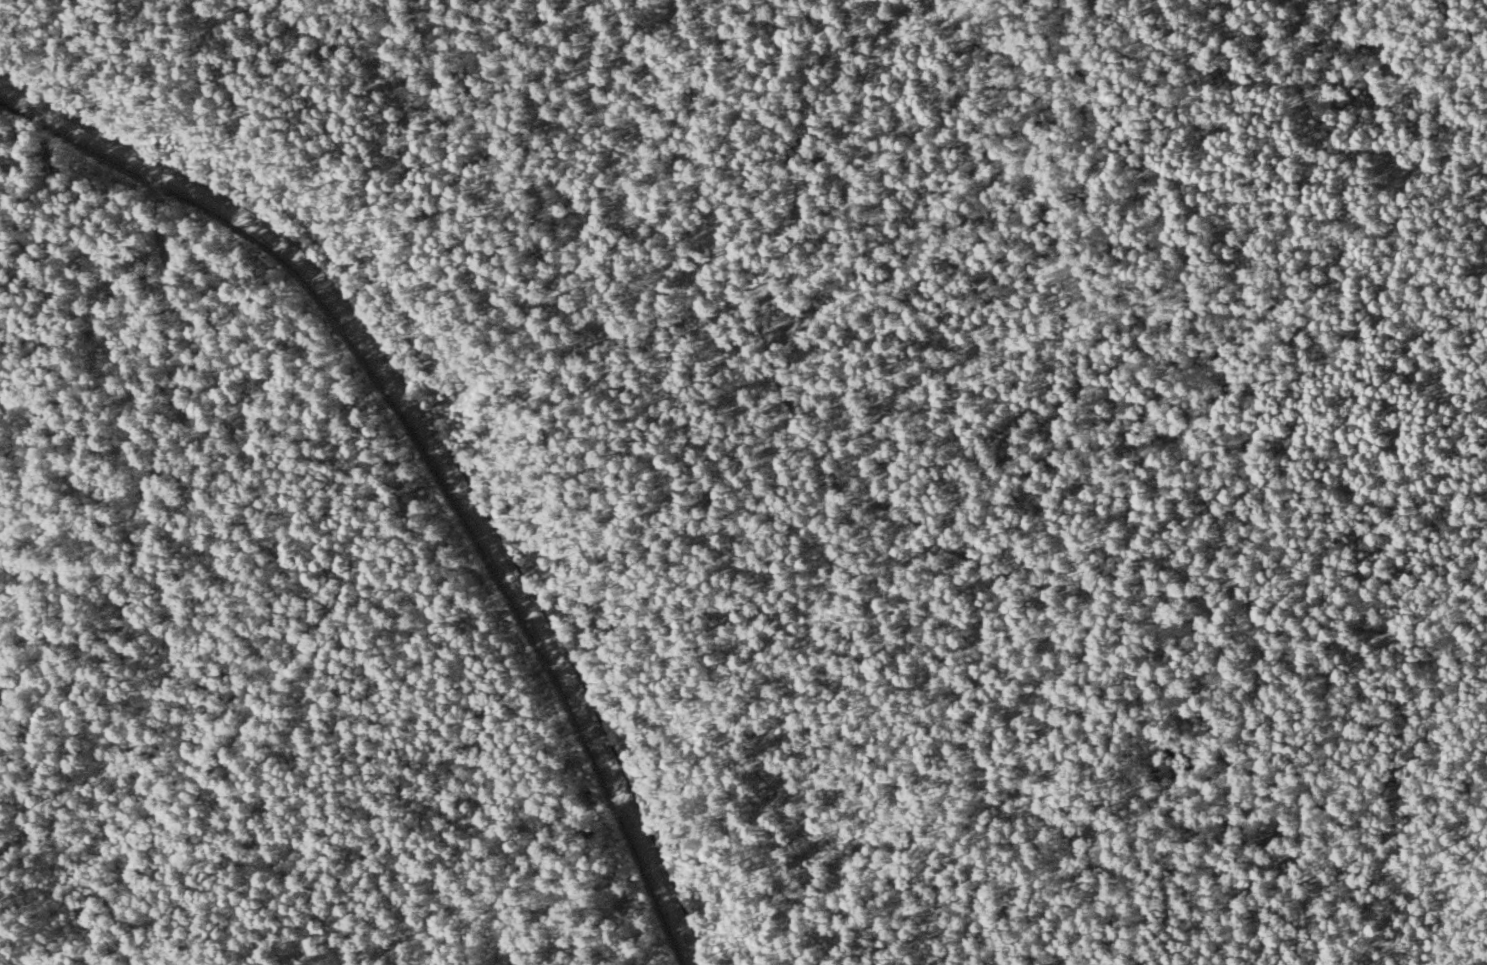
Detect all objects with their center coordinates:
road: (448, 429)

